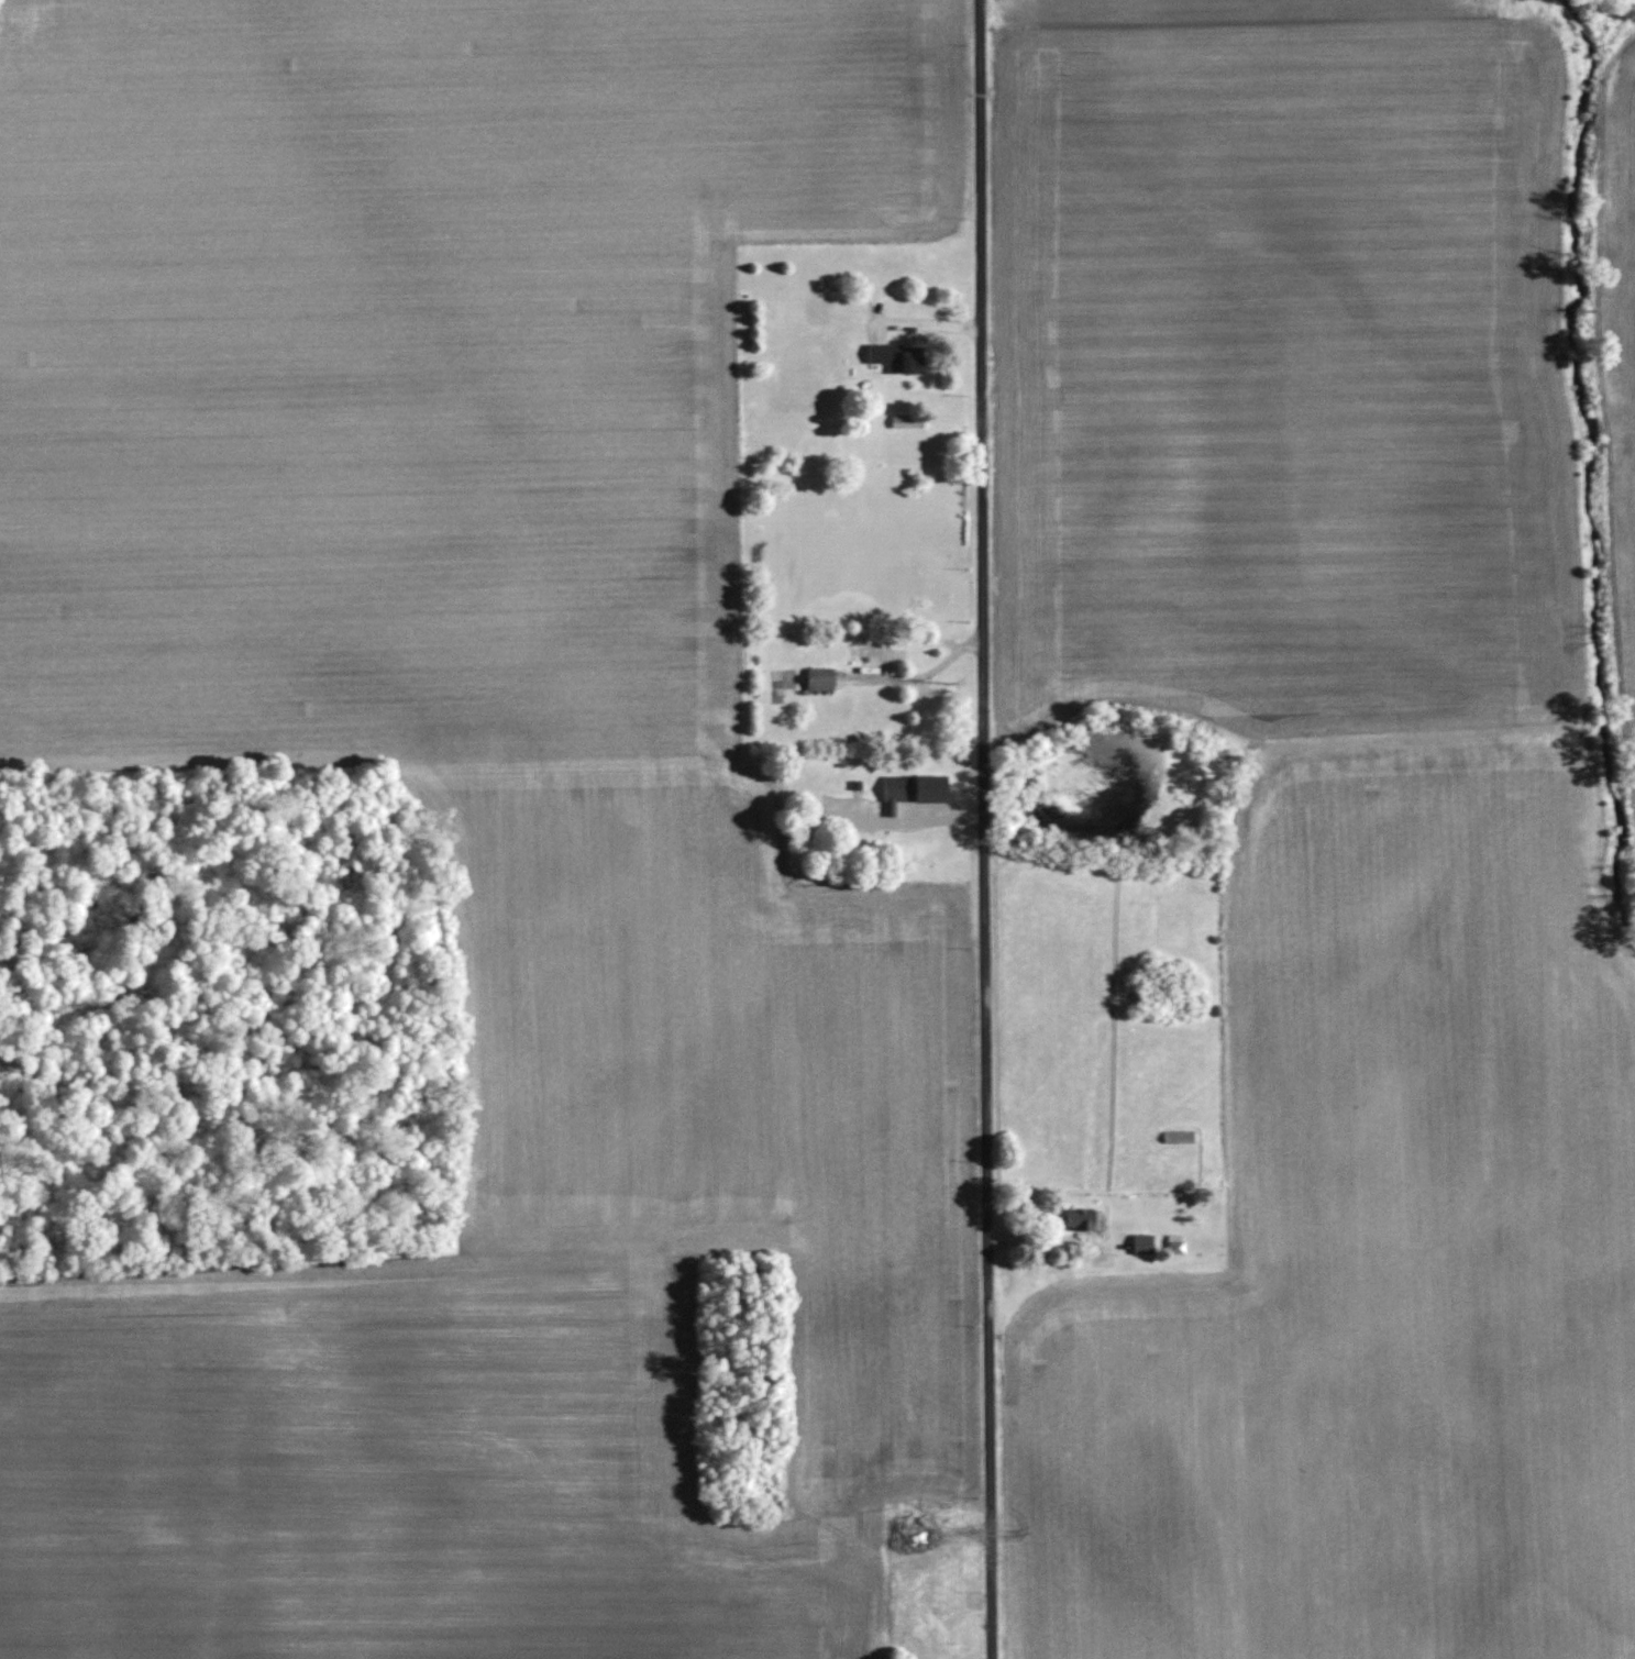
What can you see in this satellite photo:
building: (815, 313)
building: (896, 357)
building: (908, 422)
building: (876, 654)
building: (819, 678)
building: (913, 790)
road: (986, 829)
building: (1178, 1136)
building: (1080, 1218)
building: (1141, 1243)
building: (1173, 1243)
building: (912, 1534)

